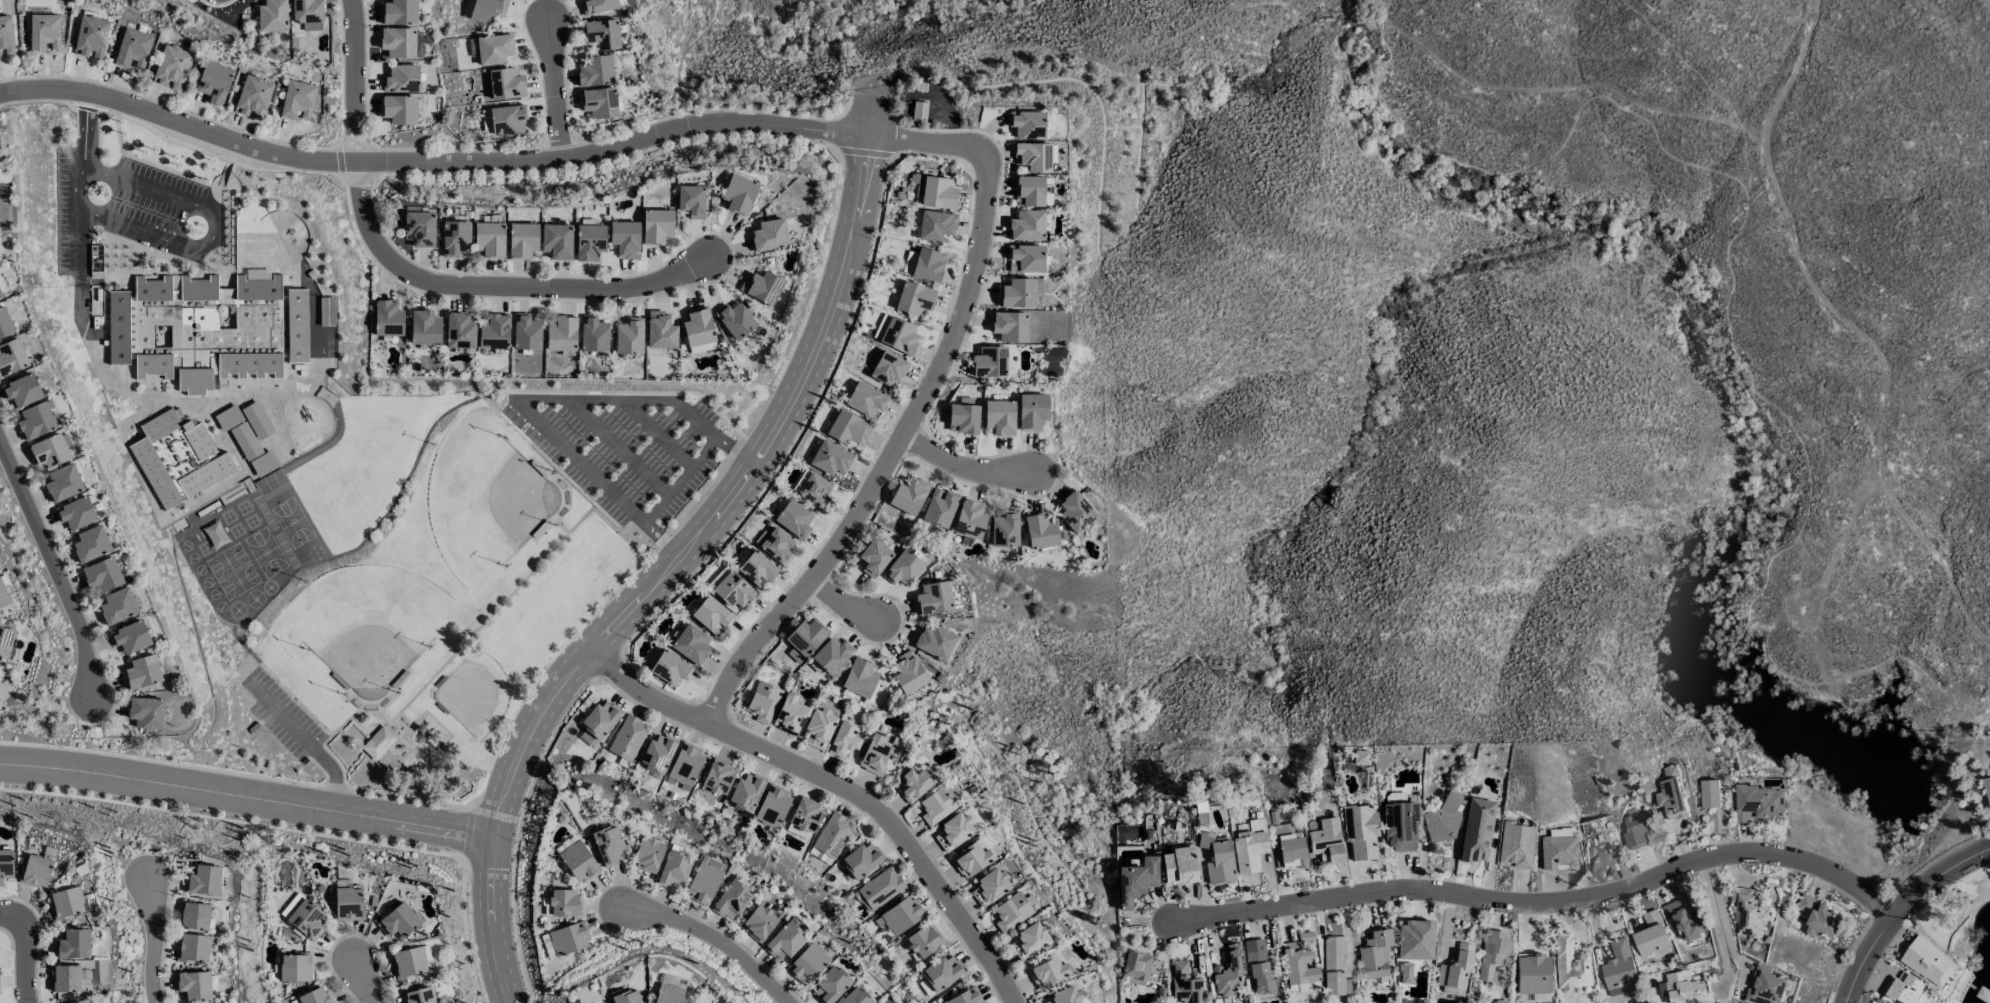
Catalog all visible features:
road: (1985, 4)
building: (597, 6)
building: (487, 10)
building: (400, 12)
building: (308, 14)
building: (272, 16)
building: (43, 32)
building: (602, 34)
building: (6, 36)
building: (91, 37)
building: (398, 42)
building: (473, 48)
building: (133, 49)
building: (494, 49)
road: (682, 61)
building: (171, 67)
building: (595, 71)
road: (355, 78)
building: (401, 79)
building: (214, 82)
building: (506, 84)
road: (552, 84)
building: (253, 97)
building: (318, 99)
building: (297, 100)
building: (599, 103)
building: (936, 106)
building: (399, 109)
building: (919, 111)
building: (507, 120)
building: (1027, 124)
road: (86, 129)
road: (273, 153)
building: (1033, 157)
building: (955, 188)
road: (77, 189)
building: (934, 191)
building: (1029, 191)
building: (739, 194)
building: (691, 201)
building: (953, 220)
building: (936, 225)
building: (656, 226)
building: (1027, 226)
building: (419, 228)
road: (216, 229)
building: (769, 235)
building: (455, 238)
building: (489, 239)
building: (625, 239)
building: (522, 240)
building: (556, 241)
building: (590, 242)
road: (992, 247)
building: (945, 259)
building: (1026, 259)
building: (926, 264)
road: (501, 284)
building: (762, 287)
building: (931, 293)
building: (1018, 293)
building: (0, 298)
building: (914, 299)
road: (1731, 302)
road: (1861, 316)
building: (388, 319)
building: (735, 320)
building: (5, 324)
building: (118, 327)
building: (697, 327)
building: (1010, 327)
building: (425, 328)
building: (219, 329)
building: (915, 330)
building: (459, 331)
building: (494, 331)
building: (660, 331)
building: (526, 332)
building: (561, 334)
building: (593, 334)
building: (897, 335)
building: (629, 336)
building: (702, 348)
building: (12, 357)
building: (990, 362)
building: (906, 364)
building: (888, 369)
road: (1946, 375)
road: (648, 388)
building: (22, 390)
road: (639, 394)
building: (882, 394)
road: (475, 399)
building: (866, 399)
building: (1048, 406)
building: (980, 411)
building: (1032, 411)
building: (1016, 412)
building: (963, 417)
building: (999, 417)
building: (36, 421)
building: (864, 423)
building: (848, 428)
road: (675, 429)
building: (249, 435)
road: (635, 442)
parking lot: (642, 444)
road: (750, 445)
building: (49, 451)
building: (847, 453)
road: (567, 456)
road: (596, 457)
building: (178, 458)
building: (831, 458)
road: (978, 460)
road: (697, 475)
building: (63, 483)
building: (832, 486)
building: (926, 490)
building: (815, 491)
park: (500, 495)
building: (909, 496)
building: (956, 503)
building: (1092, 506)
building: (940, 508)
building: (1076, 512)
building: (76, 513)
building: (811, 514)
building: (986, 514)
road: (622, 515)
building: (794, 519)
building: (970, 519)
building: (1021, 524)
building: (1058, 525)
building: (1004, 530)
building: (1041, 531)
road: (678, 534)
building: (794, 541)
building: (91, 544)
building: (777, 546)
building: (891, 553)
road: (693, 554)
building: (873, 558)
building: (920, 563)
building: (775, 564)
building: (903, 568)
road: (52, 569)
building: (758, 569)
building: (102, 575)
road: (1836, 582)
building: (749, 585)
building: (733, 590)
building: (951, 593)
building: (3, 596)
road: (857, 598)
building: (933, 598)
building: (117, 606)
road: (1799, 608)
road: (505, 611)
building: (729, 611)
park: (452, 615)
building: (712, 616)
park: (385, 618)
building: (823, 631)
road: (254, 635)
building: (131, 637)
building: (806, 637)
building: (952, 637)
building: (708, 639)
building: (5, 641)
building: (935, 642)
building: (692, 644)
building: (849, 650)
road: (271, 652)
building: (832, 655)
building: (687, 663)
building: (671, 668)
building: (925, 668)
building: (143, 672)
building: (877, 672)
building: (909, 673)
building: (860, 678)
park: (495, 688)
road: (312, 694)
building: (780, 696)
river: (1904, 699)
building: (763, 702)
road: (428, 706)
building: (807, 709)
road: (297, 711)
parking lot: (299, 711)
building: (147, 712)
river: (1778, 712)
road: (398, 713)
building: (790, 713)
building: (617, 714)
road: (401, 717)
road: (360, 719)
building: (600, 719)
road: (377, 722)
building: (836, 723)
building: (819, 728)
building: (645, 733)
building: (861, 734)
building: (395, 737)
building: (628, 738)
building: (844, 739)
building: (377, 743)
building: (675, 748)
building: (893, 750)
building: (657, 752)
road: (413, 754)
road: (390, 755)
building: (875, 755)
building: (702, 761)
building: (686, 765)
building: (735, 772)
road: (351, 773)
road: (175, 778)
building: (718, 778)
building: (932, 780)
road: (857, 783)
building: (916, 784)
building: (763, 787)
building: (1987, 789)
building: (746, 792)
building: (1670, 793)
building: (1710, 794)
building: (955, 800)
building: (790, 801)
building: (1759, 803)
building: (937, 805)
building: (773, 806)
building: (823, 809)
building: (1459, 814)
building: (804, 818)
road: (427, 819)
building: (1417, 821)
building: (1443, 821)
building: (1654, 824)
building: (1494, 825)
building: (1378, 826)
building: (971, 827)
building: (1401, 827)
building: (1637, 829)
building: (850, 830)
building: (1477, 830)
building: (1360, 831)
building: (954, 832)
building: (1344, 836)
building: (831, 838)
building: (625, 840)
building: (1533, 840)
building: (1326, 841)
building: (1305, 842)
building: (608, 845)
building: (1249, 845)
building: (1265, 845)
building: (1516, 845)
building: (1575, 847)
building: (665, 849)
building: (1558, 851)
building: (593, 852)
building: (1234, 853)
building: (878, 854)
building: (647, 855)
building: (988, 855)
building: (1218, 859)
building: (861, 860)
building: (972, 860)
building: (1196, 861)
building: (578, 862)
building: (5, 864)
building: (691, 864)
building: (1179, 866)
building: (674, 869)
building: (36, 871)
building: (722, 875)
building: (1153, 875)
building: (705, 880)
building: (1136, 880)
building: (202, 881)
building: (1007, 882)
building: (898, 883)
building: (991, 886)
building: (881, 888)
building: (749, 895)
building: (582, 898)
road: (1547, 898)
building: (731, 900)
building: (347, 901)
building: (67, 903)
building: (565, 903)
building: (1029, 907)
building: (920, 909)
road: (1896, 909)
building: (288, 910)
building: (1012, 912)
park: (1967, 914)
building: (1749, 915)
building: (194, 916)
building: (777, 916)
building: (900, 916)
road: (1722, 917)
building: (1819, 917)
building: (306, 919)
building: (1683, 920)
building: (397, 921)
building: (760, 921)
road: (1715, 928)
building: (585, 933)
building: (801, 934)
building: (1651, 934)
building: (1432, 935)
road: (734, 936)
building: (940, 936)
building: (1047, 936)
road: (159, 939)
building: (1030, 940)
building: (1415, 940)
building: (785, 941)
building: (924, 941)
building: (73, 945)
road: (26, 948)
building: (193, 948)
building: (1509, 948)
building: (1392, 949)
building: (1493, 953)
building: (1375, 955)
building: (1316, 956)
building: (824, 959)
building: (1152, 960)
building: (1349, 960)
building: (1588, 960)
building: (1928, 961)
building: (408, 962)
building: (1276, 962)
building: (1472, 962)
building: (808, 963)
building: (1636, 964)
building: (959, 966)
building: (1333, 966)
building: (1571, 966)
building: (296, 967)
building: (1064, 967)
building: (1135, 967)
building: (1422, 967)
building: (1456, 967)
building: (1247, 968)
building: (1619, 969)
building: (1549, 970)
building: (1048, 971)
building: (1260, 971)
building: (942, 972)
building: (1229, 973)
building: (1533, 977)
road: (377, 978)
building: (65, 979)
building: (1201, 979)
building: (846, 981)
building: (193, 985)
building: (1186, 985)
building: (830, 986)
building: (1765, 986)
building: (1686, 988)
building: (1903, 988)
building: (684, 992)
building: (668, 993)
building: (418, 995)
building: (644, 995)
building: (872, 995)
building: (981, 995)
building: (1082, 995)
building: (314, 996)
building: (627, 997)
building: (84, 1001)
building: (718, 1001)
building: (700, 1002)
building: (894, 1002)

